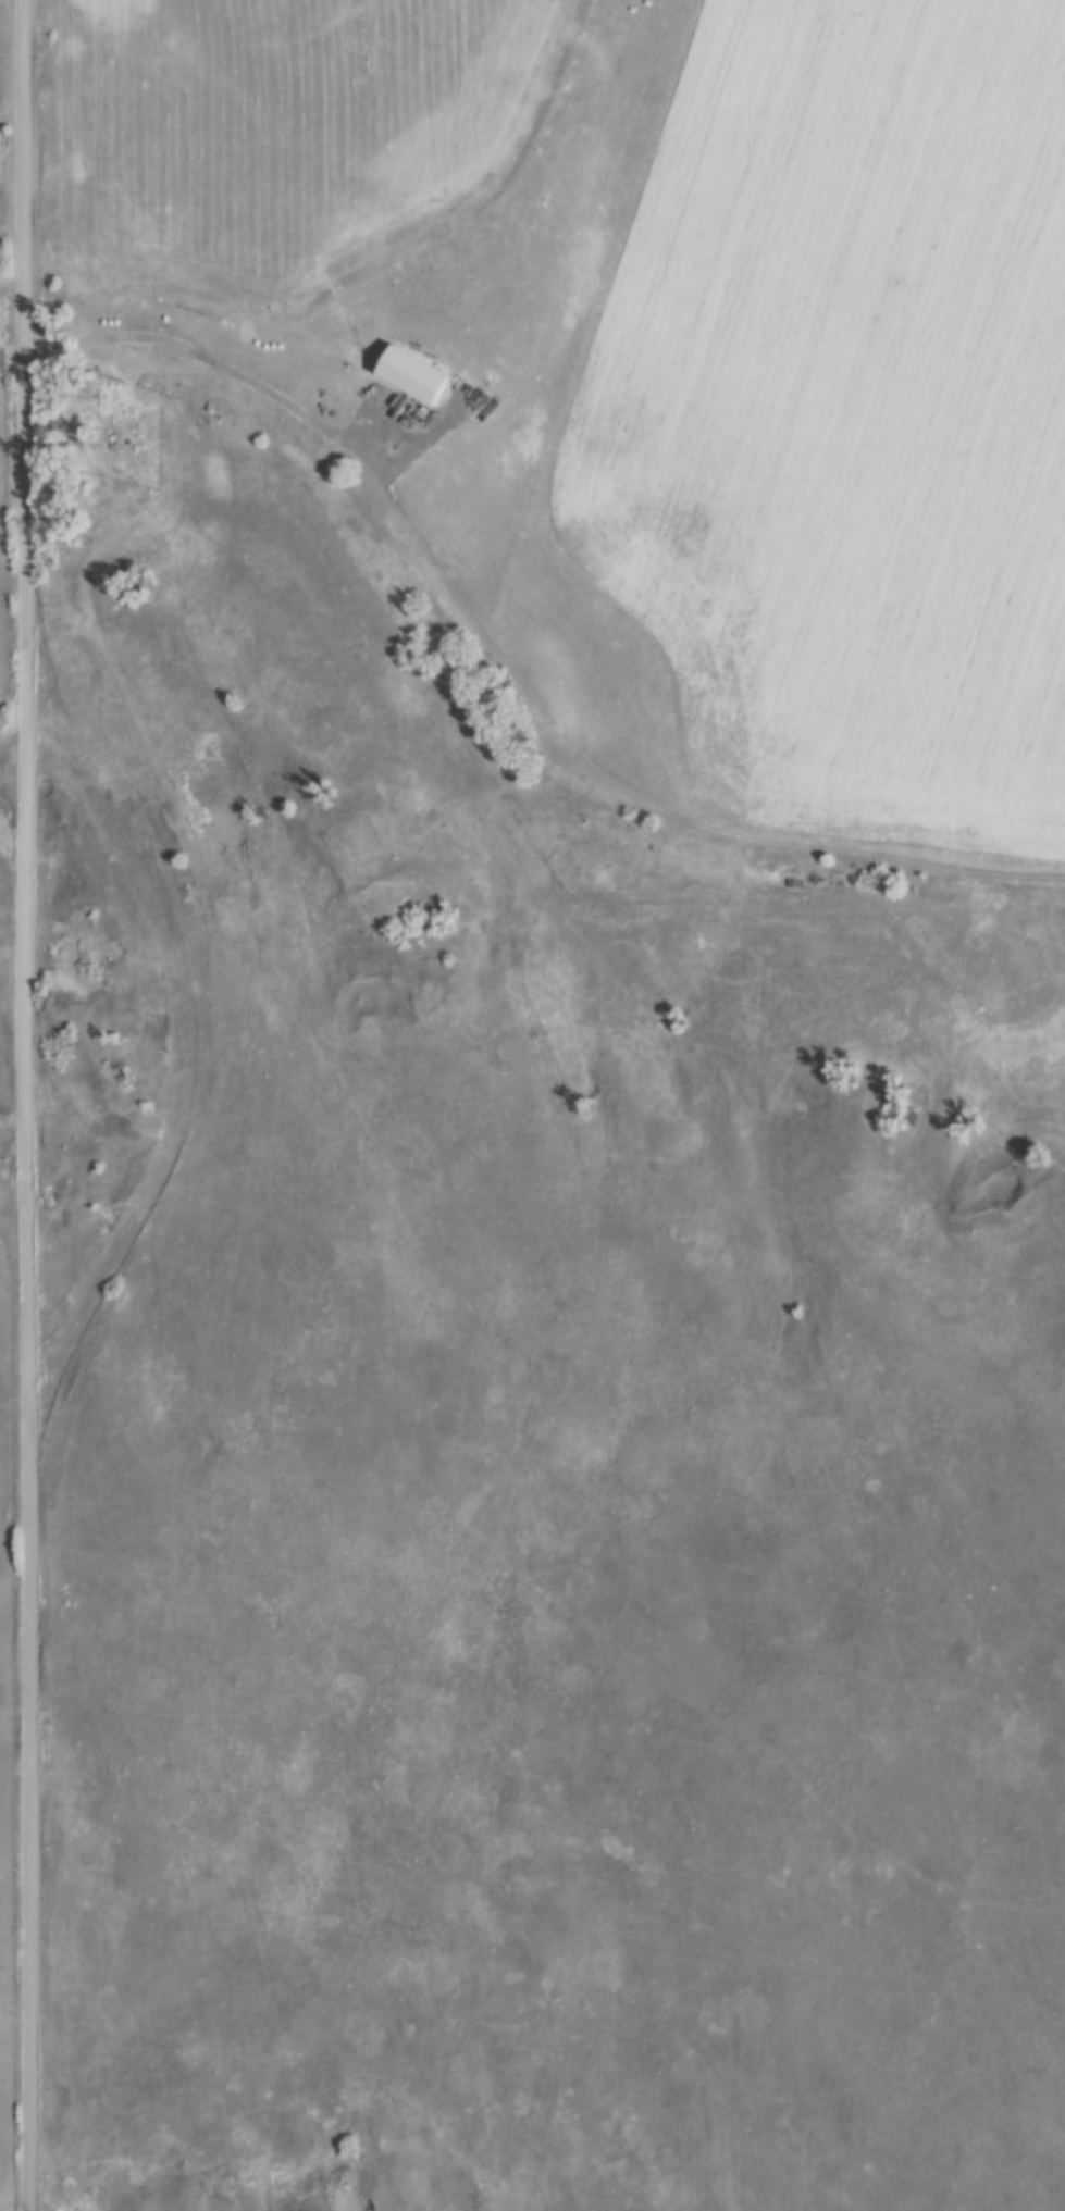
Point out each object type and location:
road: (506, 667)
road: (181, 1039)
road: (29, 1105)

